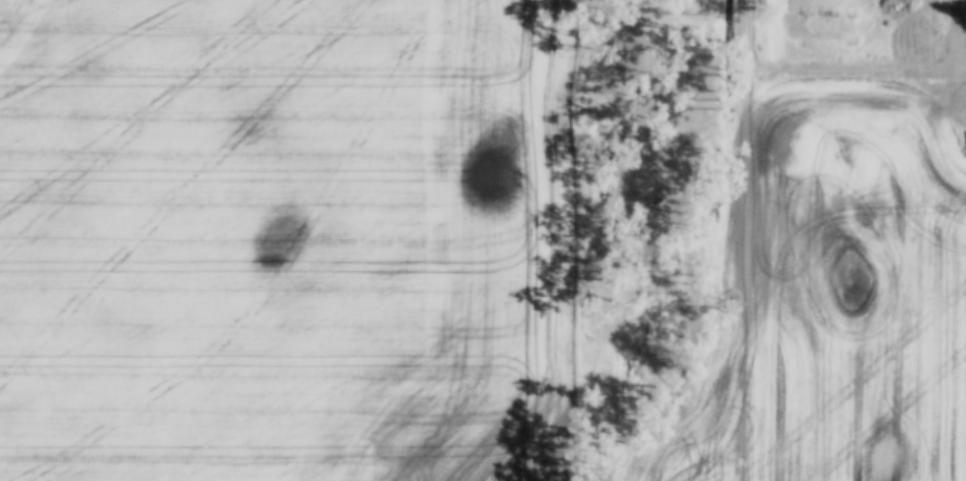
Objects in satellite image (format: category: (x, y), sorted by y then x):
building: (891, 4)
road: (960, 28)
road: (743, 240)

